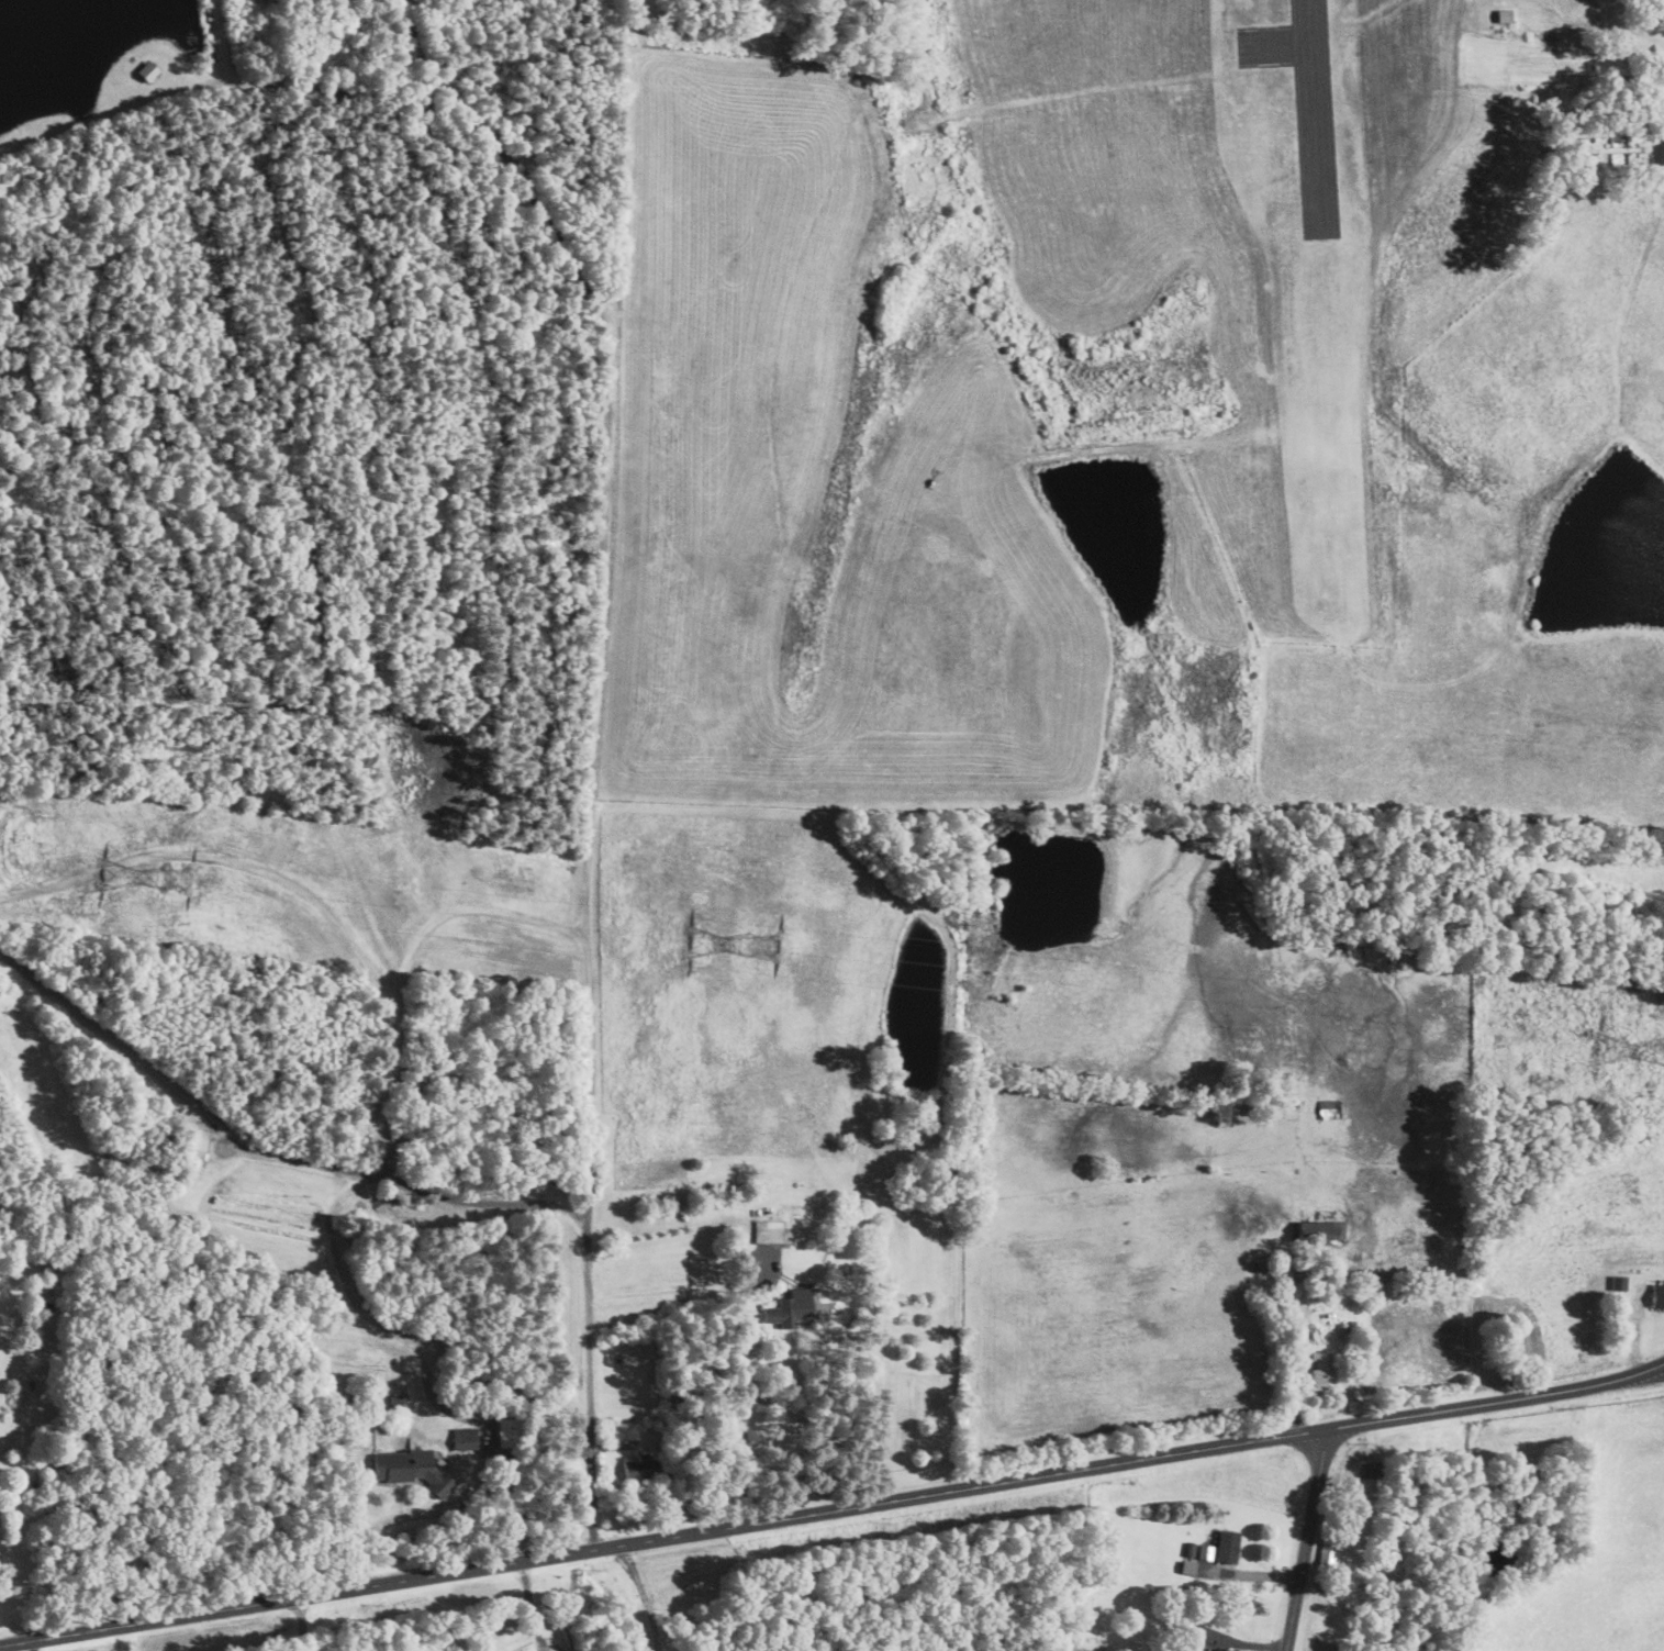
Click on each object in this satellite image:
building: (1505, 15)
road: (1626, 25)
building: (147, 70)
road: (605, 756)
power tower: (175, 875)
road: (534, 926)
power tower: (766, 946)
building: (199, 1145)
road: (567, 1211)
building: (1657, 1295)
building: (789, 1310)
road: (411, 1343)
building: (1326, 1368)
road: (741, 1393)
building: (510, 1432)
building: (641, 1468)
building: (427, 1477)
road: (833, 1511)
road: (407, 1517)
road: (1306, 1540)
building: (1227, 1546)
building: (1205, 1551)
building: (1327, 1554)
building: (1187, 1568)
road: (644, 1598)
road: (306, 1624)
road: (35, 1646)
building: (1211, 1650)

